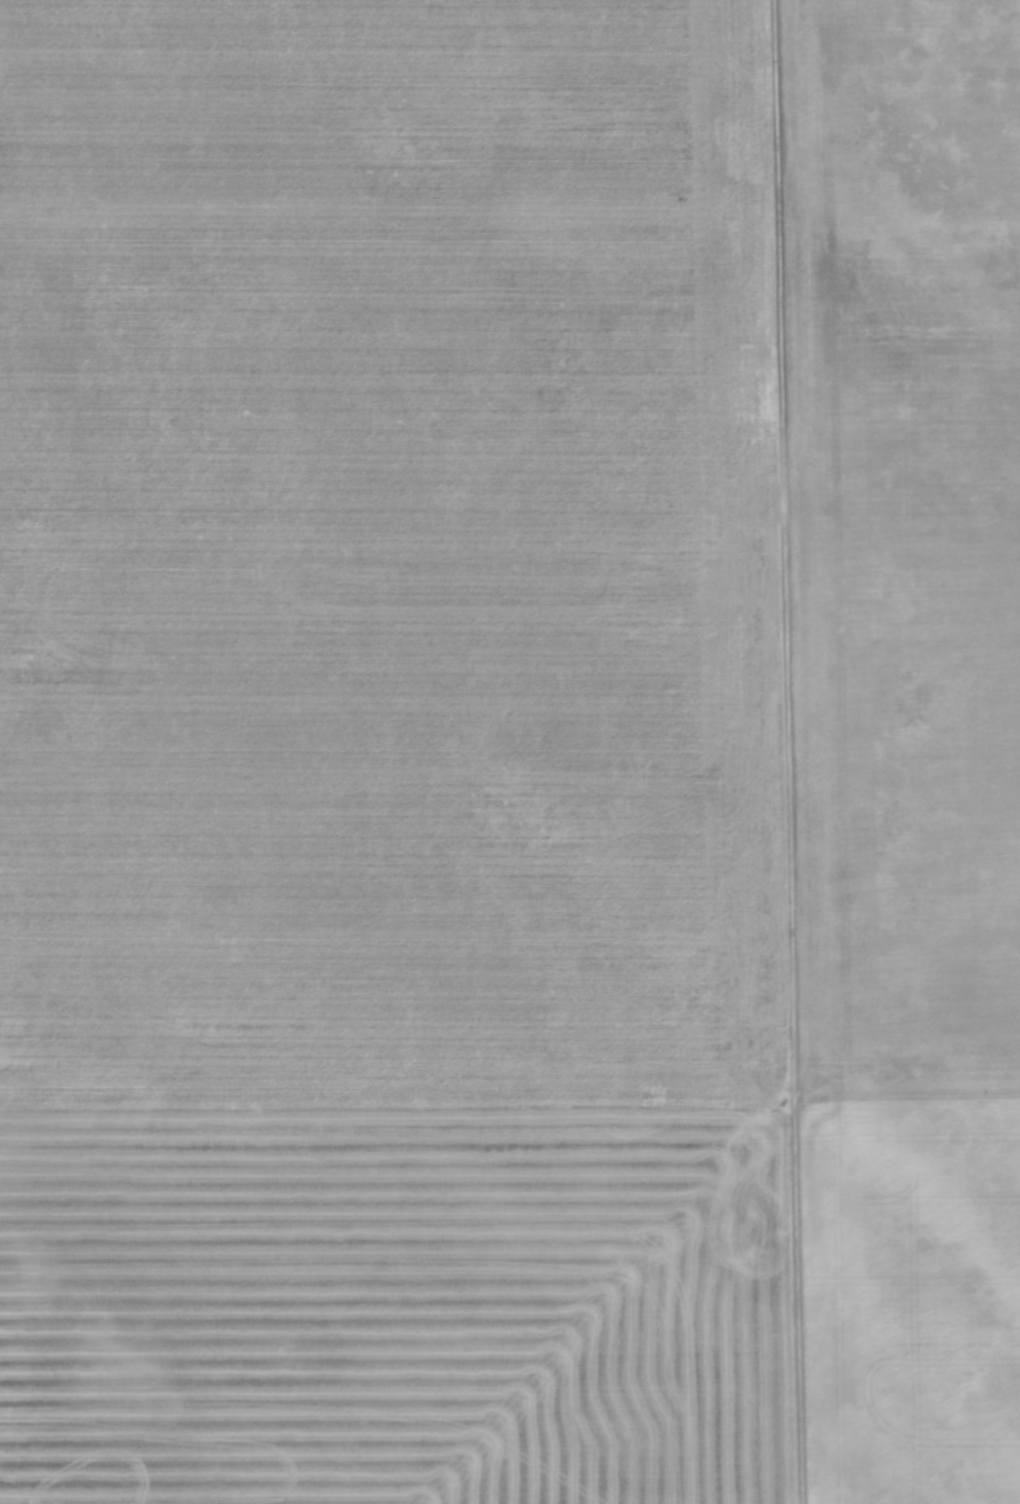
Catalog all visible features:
road: (791, 751)
crop: (510, 752)

